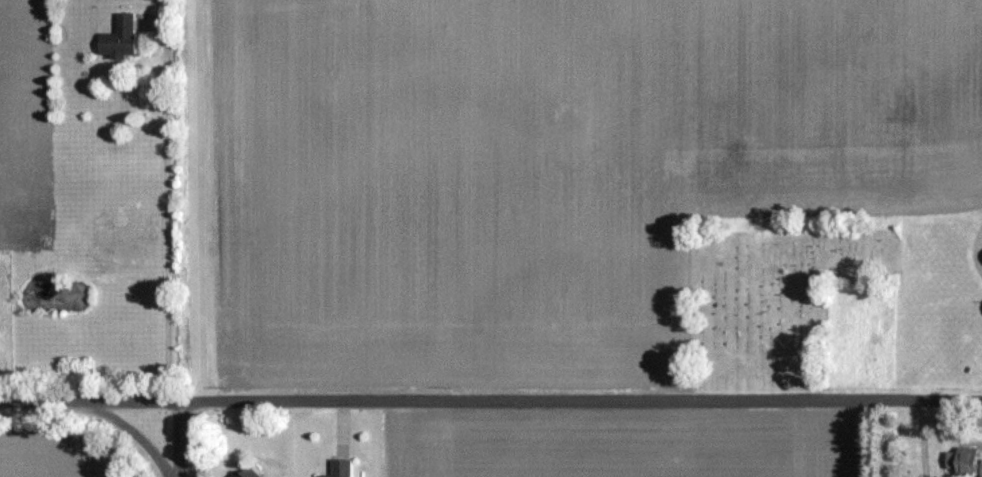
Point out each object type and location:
building: (120, 37)
park: (784, 303)
road: (34, 399)
road: (525, 399)
road: (125, 427)
road: (177, 437)
building: (967, 458)
building: (340, 468)
building: (243, 473)

